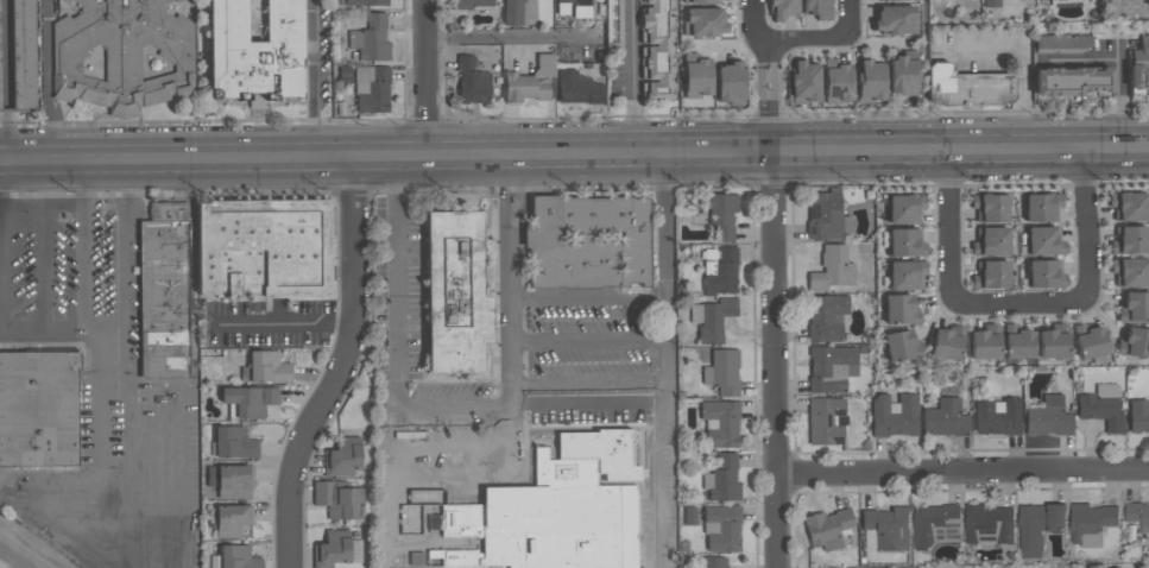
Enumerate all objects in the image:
building: (702, 0)
building: (892, 0)
building: (1011, 0)
building: (1132, 0)
building: (366, 2)
building: (473, 4)
building: (991, 4)
building: (575, 7)
building: (782, 8)
building: (816, 8)
building: (512, 12)
road: (755, 17)
building: (895, 20)
building: (614, 21)
building: (706, 23)
road: (817, 34)
road: (509, 38)
building: (371, 39)
building: (1062, 43)
building: (254, 48)
building: (657, 49)
road: (760, 49)
building: (23, 53)
building: (122, 55)
road: (1021, 63)
building: (544, 64)
building: (1138, 70)
building: (902, 75)
building: (696, 76)
road: (626, 78)
road: (427, 81)
building: (870, 81)
building: (1073, 81)
road: (5, 82)
road: (46, 82)
road: (315, 82)
building: (473, 82)
building: (804, 82)
building: (837, 82)
building: (730, 83)
building: (967, 86)
building: (0, 87)
building: (526, 87)
building: (577, 88)
building: (372, 89)
road: (770, 109)
road: (574, 158)
road: (0, 189)
building: (1041, 206)
building: (1126, 206)
building: (904, 207)
building: (989, 207)
building: (825, 215)
building: (721, 216)
building: (1129, 238)
building: (1042, 240)
building: (589, 241)
building: (990, 241)
building: (904, 242)
road: (86, 246)
road: (122, 246)
building: (263, 248)
building: (832, 267)
building: (720, 270)
building: (1129, 271)
road: (665, 273)
building: (905, 273)
building: (990, 273)
building: (1043, 273)
building: (163, 292)
building: (455, 292)
road: (1016, 304)
building: (1134, 307)
building: (899, 309)
building: (826, 316)
building: (712, 317)
road: (390, 321)
road: (280, 324)
road: (107, 328)
building: (1090, 340)
building: (1017, 341)
building: (946, 342)
building: (1134, 342)
building: (984, 343)
building: (1052, 343)
building: (901, 345)
road: (775, 361)
building: (267, 366)
building: (831, 367)
road: (341, 371)
building: (722, 371)
road: (96, 389)
building: (250, 399)
road: (449, 402)
road: (658, 404)
building: (1101, 406)
building: (38, 408)
building: (894, 415)
building: (1137, 415)
building: (996, 416)
building: (1047, 417)
road: (510, 418)
building: (945, 418)
building: (826, 419)
building: (720, 422)
building: (233, 442)
building: (342, 456)
road: (962, 468)
building: (228, 478)
building: (722, 478)
building: (334, 498)
building: (556, 509)
building: (1138, 516)
building: (231, 519)
building: (1090, 523)
building: (404, 524)
building: (935, 525)
building: (987, 525)
building: (826, 526)
building: (1037, 526)
building: (721, 528)
building: (885, 528)
building: (335, 549)
building: (235, 557)
building: (711, 562)

